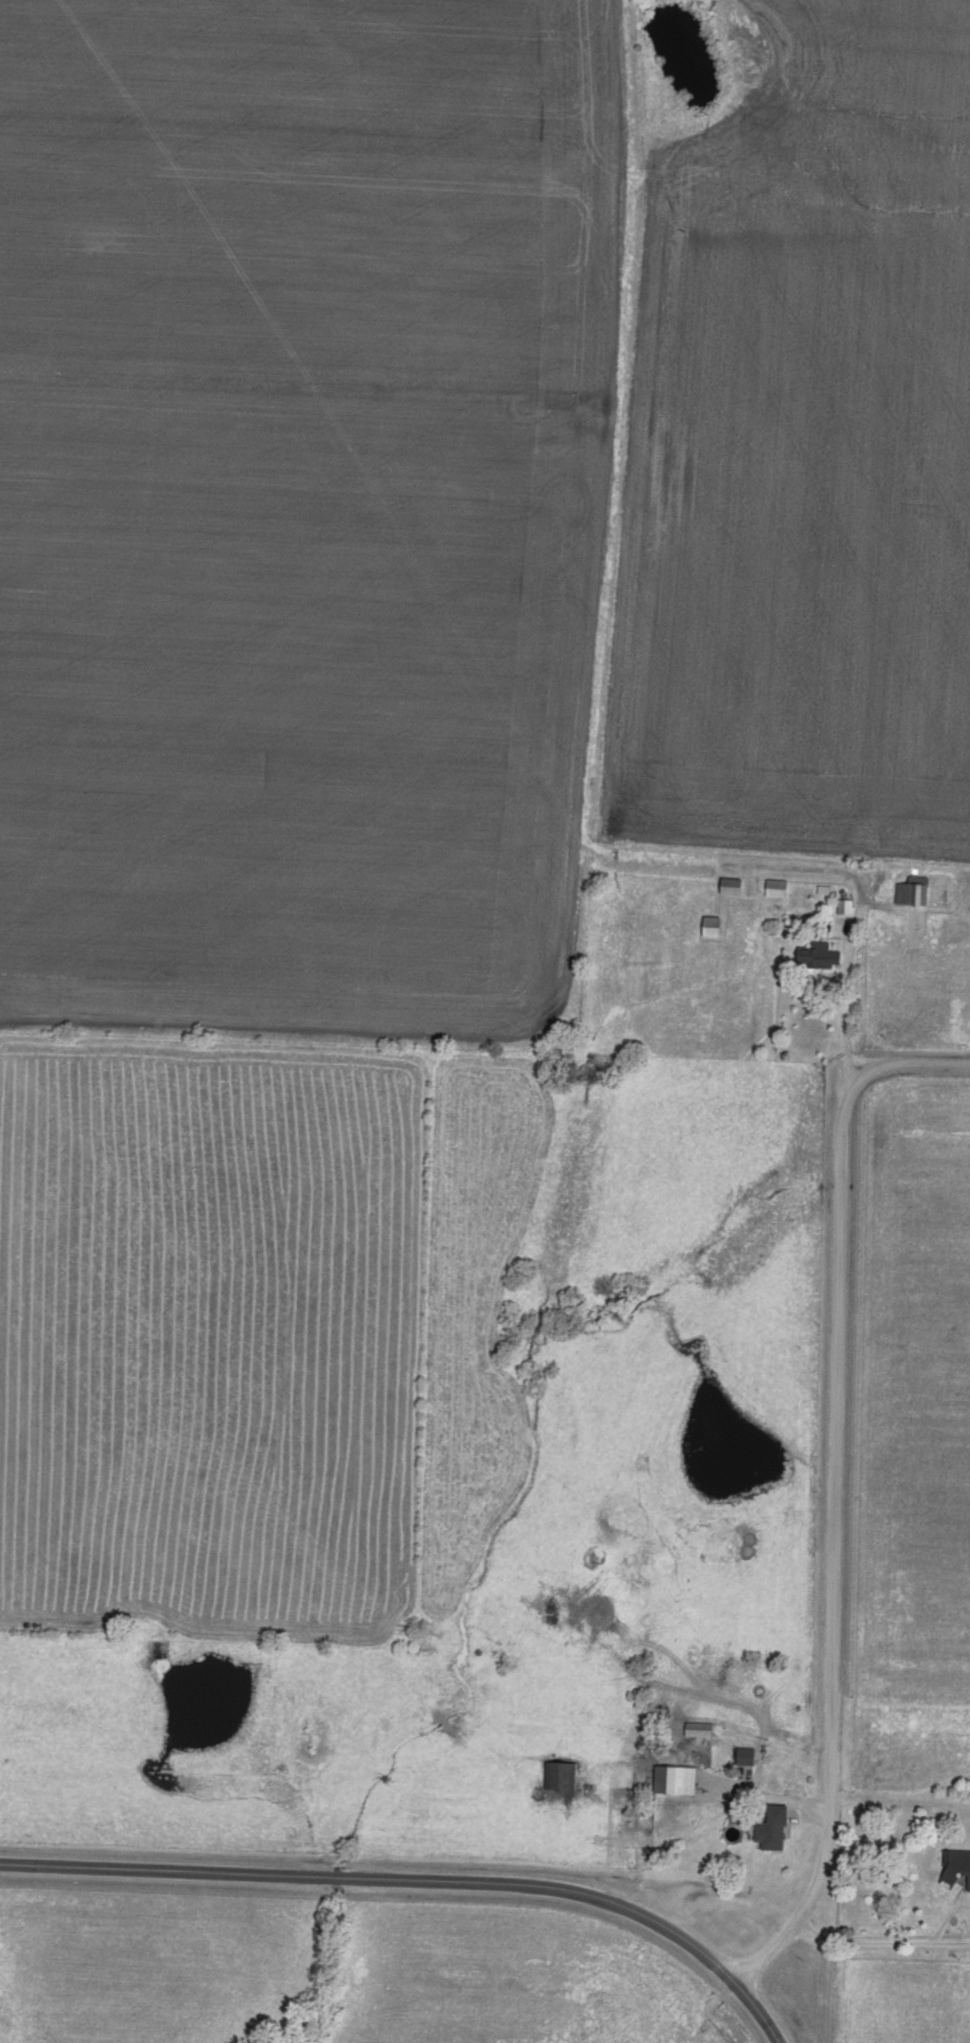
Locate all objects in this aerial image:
road: (612, 552)
building: (775, 886)
building: (911, 888)
building: (844, 904)
building: (816, 952)
road: (846, 976)
road: (911, 1062)
road: (835, 1548)
building: (697, 1727)
building: (743, 1753)
building: (558, 1773)
building: (673, 1777)
road: (766, 1792)
building: (770, 1826)
building: (957, 1863)
road: (418, 1881)
road: (881, 1943)

